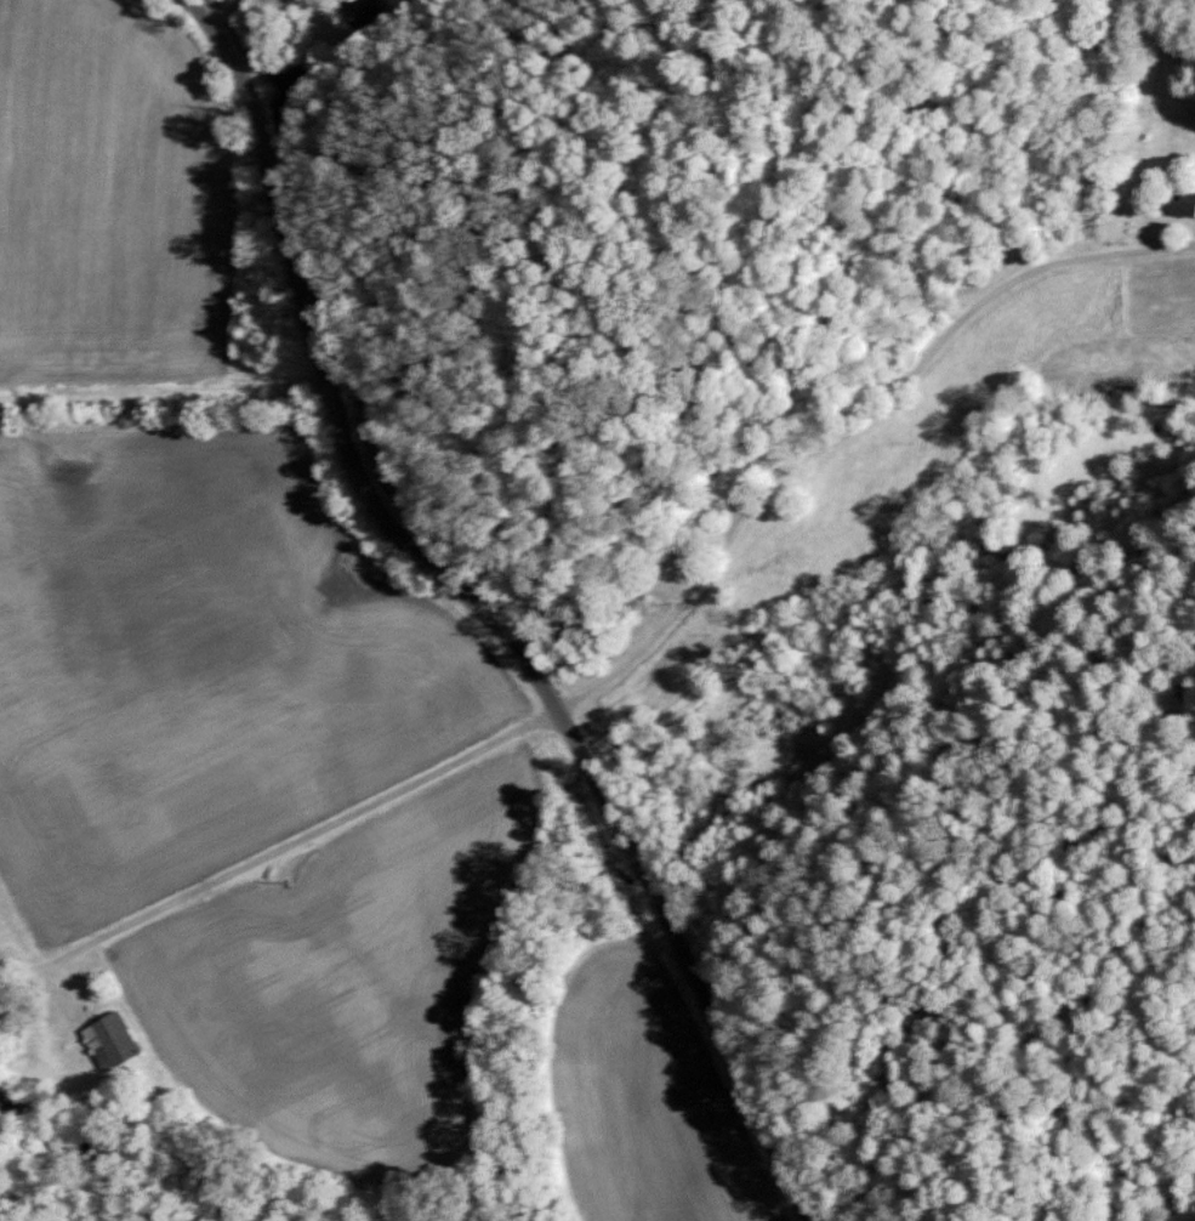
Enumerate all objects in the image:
road: (254, 13)
building: (1183, 201)
road: (325, 385)
road: (636, 649)
road: (677, 972)
building: (110, 1040)

